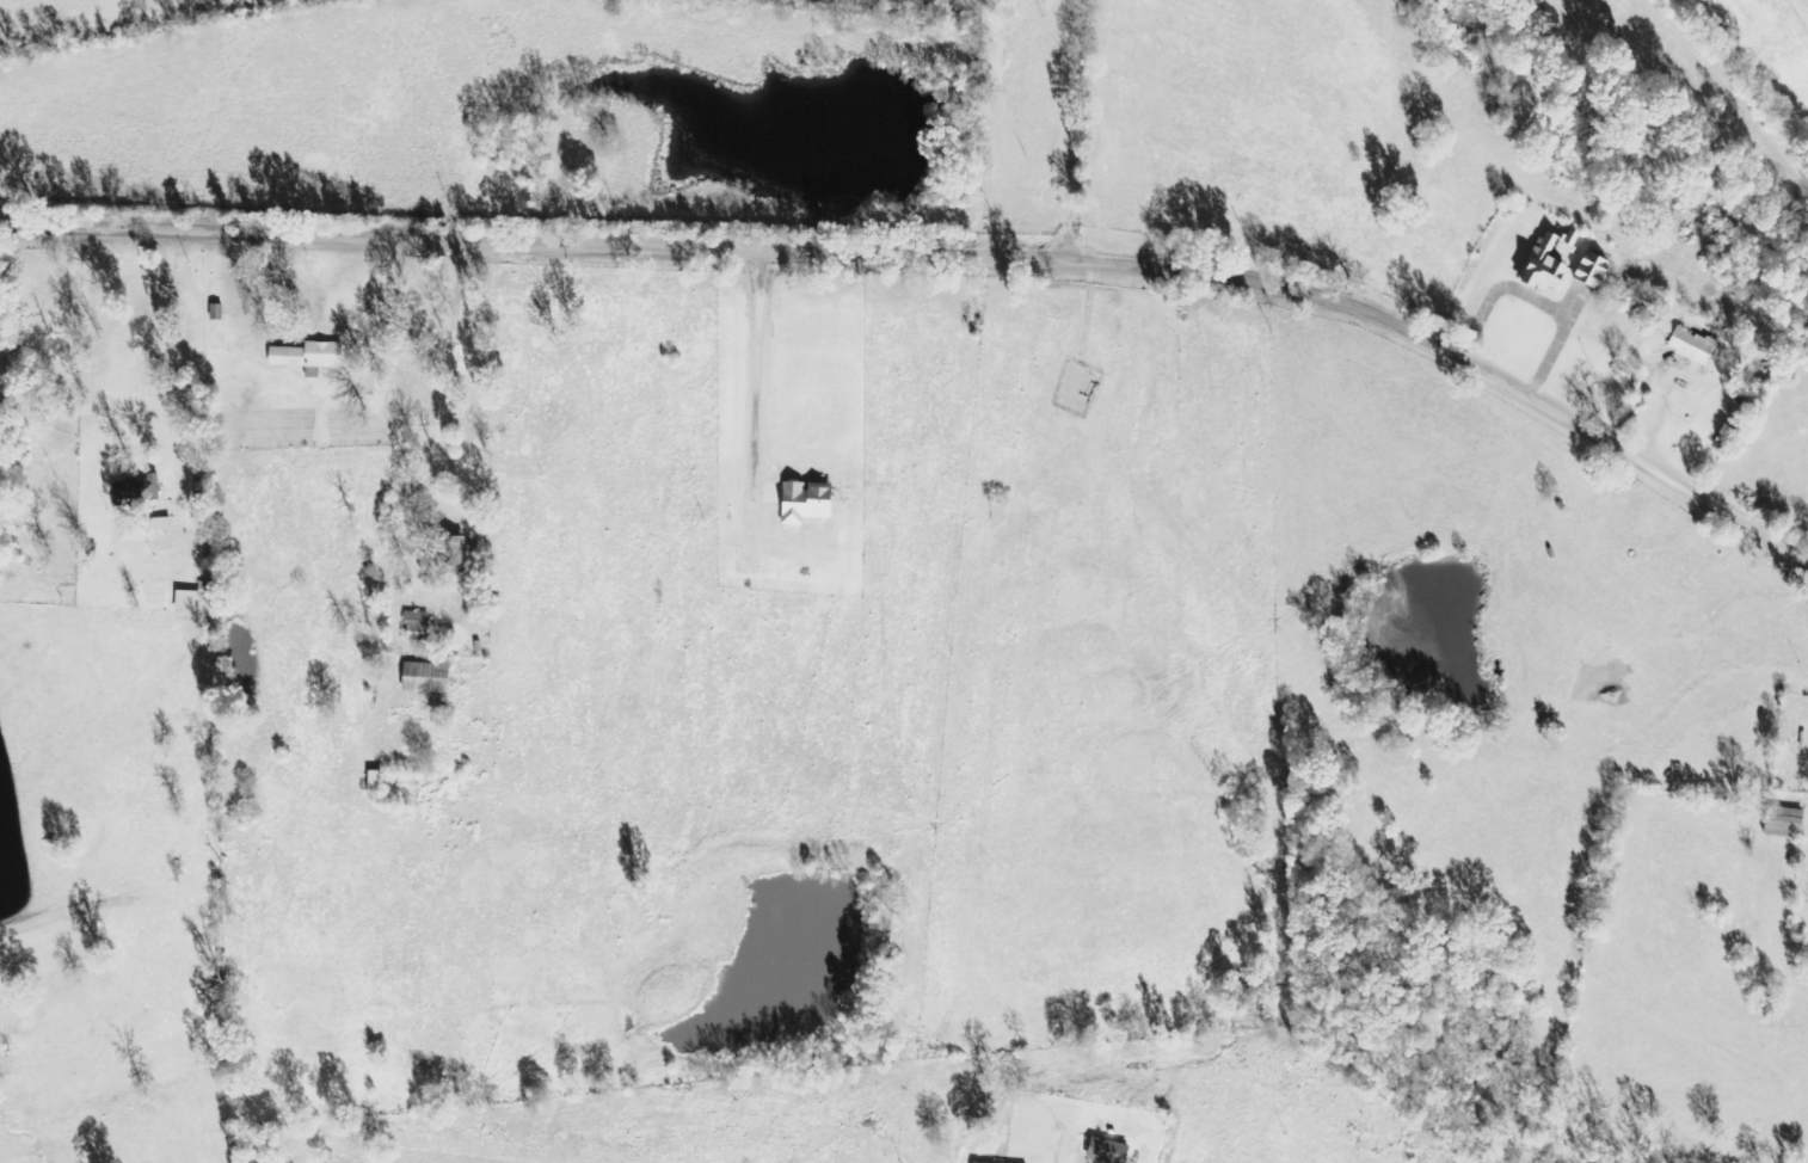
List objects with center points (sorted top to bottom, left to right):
building: (1555, 259)
building: (1599, 269)
road: (940, 276)
building: (1697, 344)
building: (313, 355)
building: (140, 490)
building: (812, 501)
building: (165, 534)
building: (192, 601)
building: (420, 626)
building: (430, 677)
building: (381, 782)
building: (1790, 824)
building: (1111, 1151)

